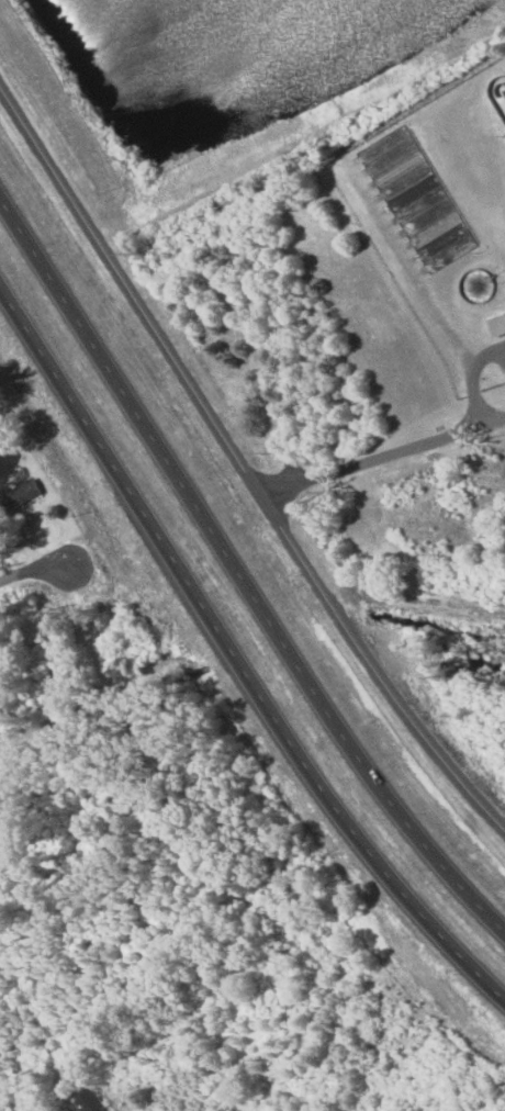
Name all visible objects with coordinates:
building: (405, 190)
building: (48, 247)
building: (19, 296)
building: (497, 325)
building: (211, 438)
road: (357, 460)
building: (77, 463)
road: (242, 463)
building: (21, 495)
building: (172, 551)
road: (31, 570)
road: (239, 574)
road: (234, 655)

